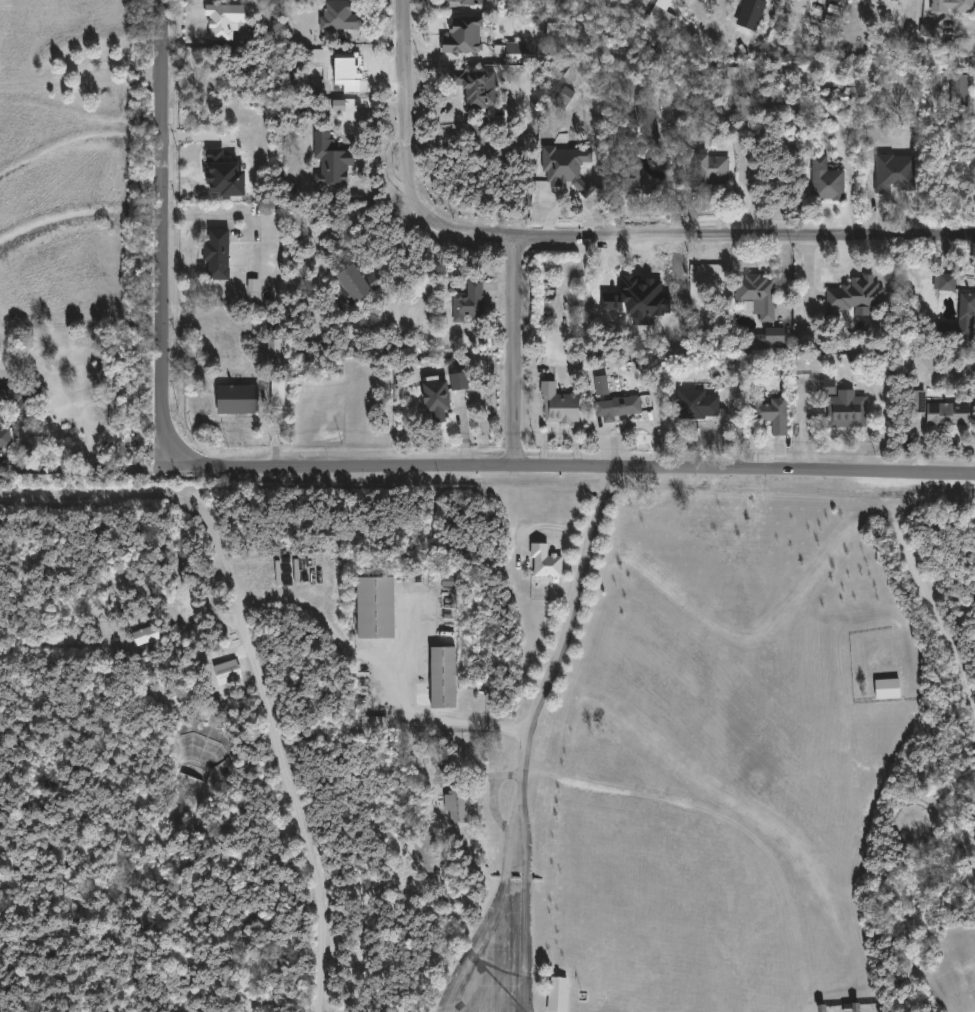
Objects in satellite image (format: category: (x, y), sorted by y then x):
building: (465, 2)
building: (953, 6)
building: (751, 13)
building: (338, 15)
building: (660, 18)
building: (226, 20)
building: (928, 31)
building: (461, 34)
building: (517, 52)
building: (349, 72)
building: (474, 85)
building: (958, 89)
building: (641, 147)
road: (407, 158)
building: (329, 160)
building: (568, 168)
building: (709, 169)
building: (892, 172)
building: (219, 174)
road: (673, 176)
building: (825, 180)
road: (167, 224)
road: (745, 238)
building: (221, 253)
building: (944, 281)
building: (353, 283)
building: (756, 294)
building: (856, 294)
building: (467, 301)
building: (961, 319)
building: (768, 336)
building: (272, 342)
road: (516, 358)
building: (459, 381)
building: (602, 385)
building: (829, 386)
building: (276, 390)
building: (433, 398)
building: (238, 399)
building: (915, 401)
building: (558, 404)
building: (695, 404)
building: (622, 405)
building: (845, 410)
building: (772, 413)
building: (946, 414)
building: (2, 416)
road: (573, 469)
road: (547, 526)
building: (546, 561)
building: (371, 606)
road: (565, 632)
building: (146, 635)
road: (953, 640)
road: (254, 659)
road: (389, 662)
building: (228, 672)
building: (440, 676)
building: (888, 688)
building: (374, 721)
building: (436, 762)
road: (493, 774)
road: (517, 801)
road: (493, 804)
building: (457, 805)
parking lot: (496, 964)
building: (558, 994)
building: (850, 1007)

